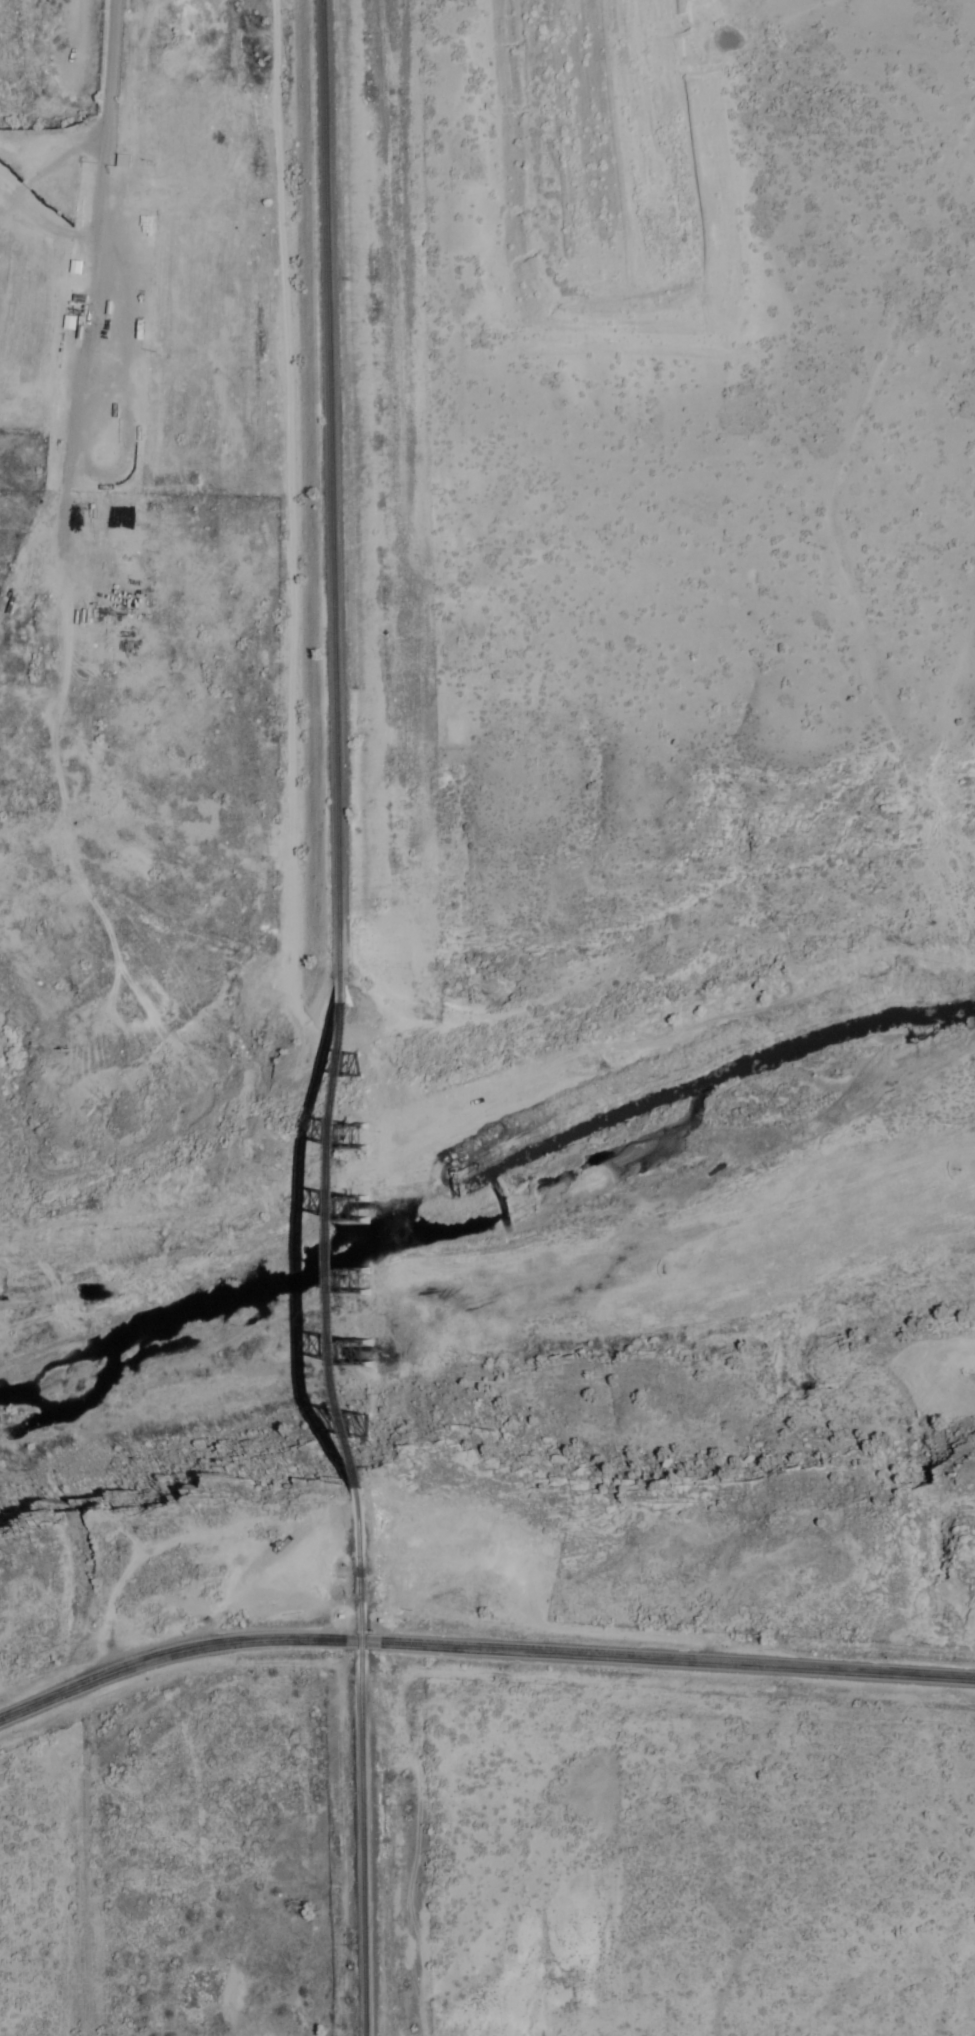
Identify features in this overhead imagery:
railway: (345, 491)
railway: (356, 1236)
river: (494, 1267)
road: (481, 1648)
railway: (366, 1762)
road: (81, 1860)

